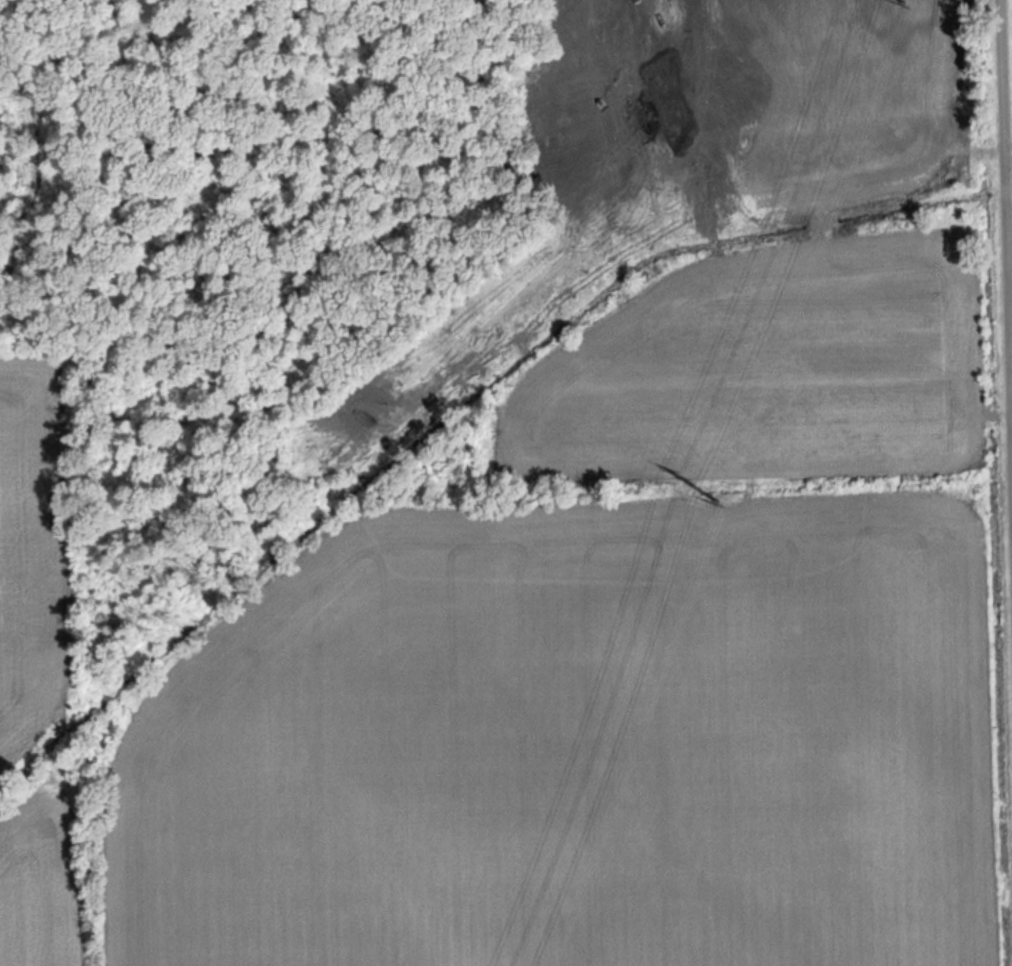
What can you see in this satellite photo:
road: (1002, 345)
power tower: (722, 498)

